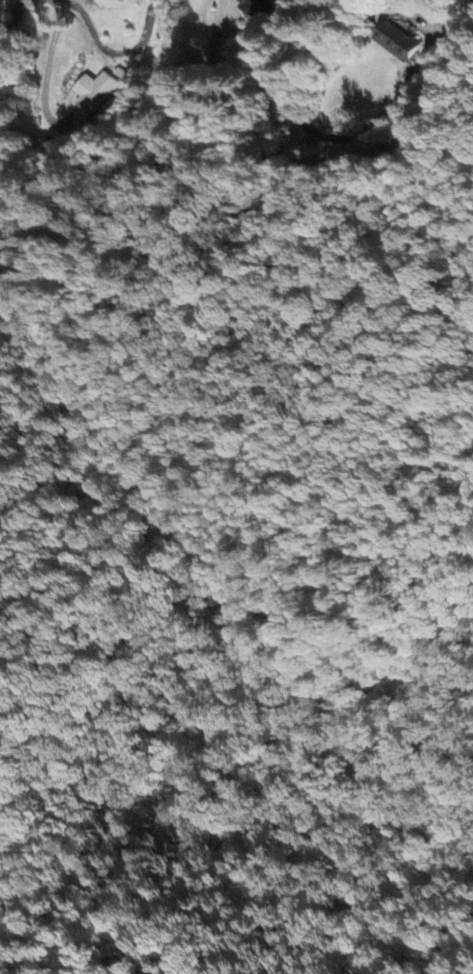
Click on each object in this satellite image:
building: (257, 8)
building: (399, 45)
road: (110, 52)
road: (46, 72)
building: (95, 93)
road: (296, 118)

